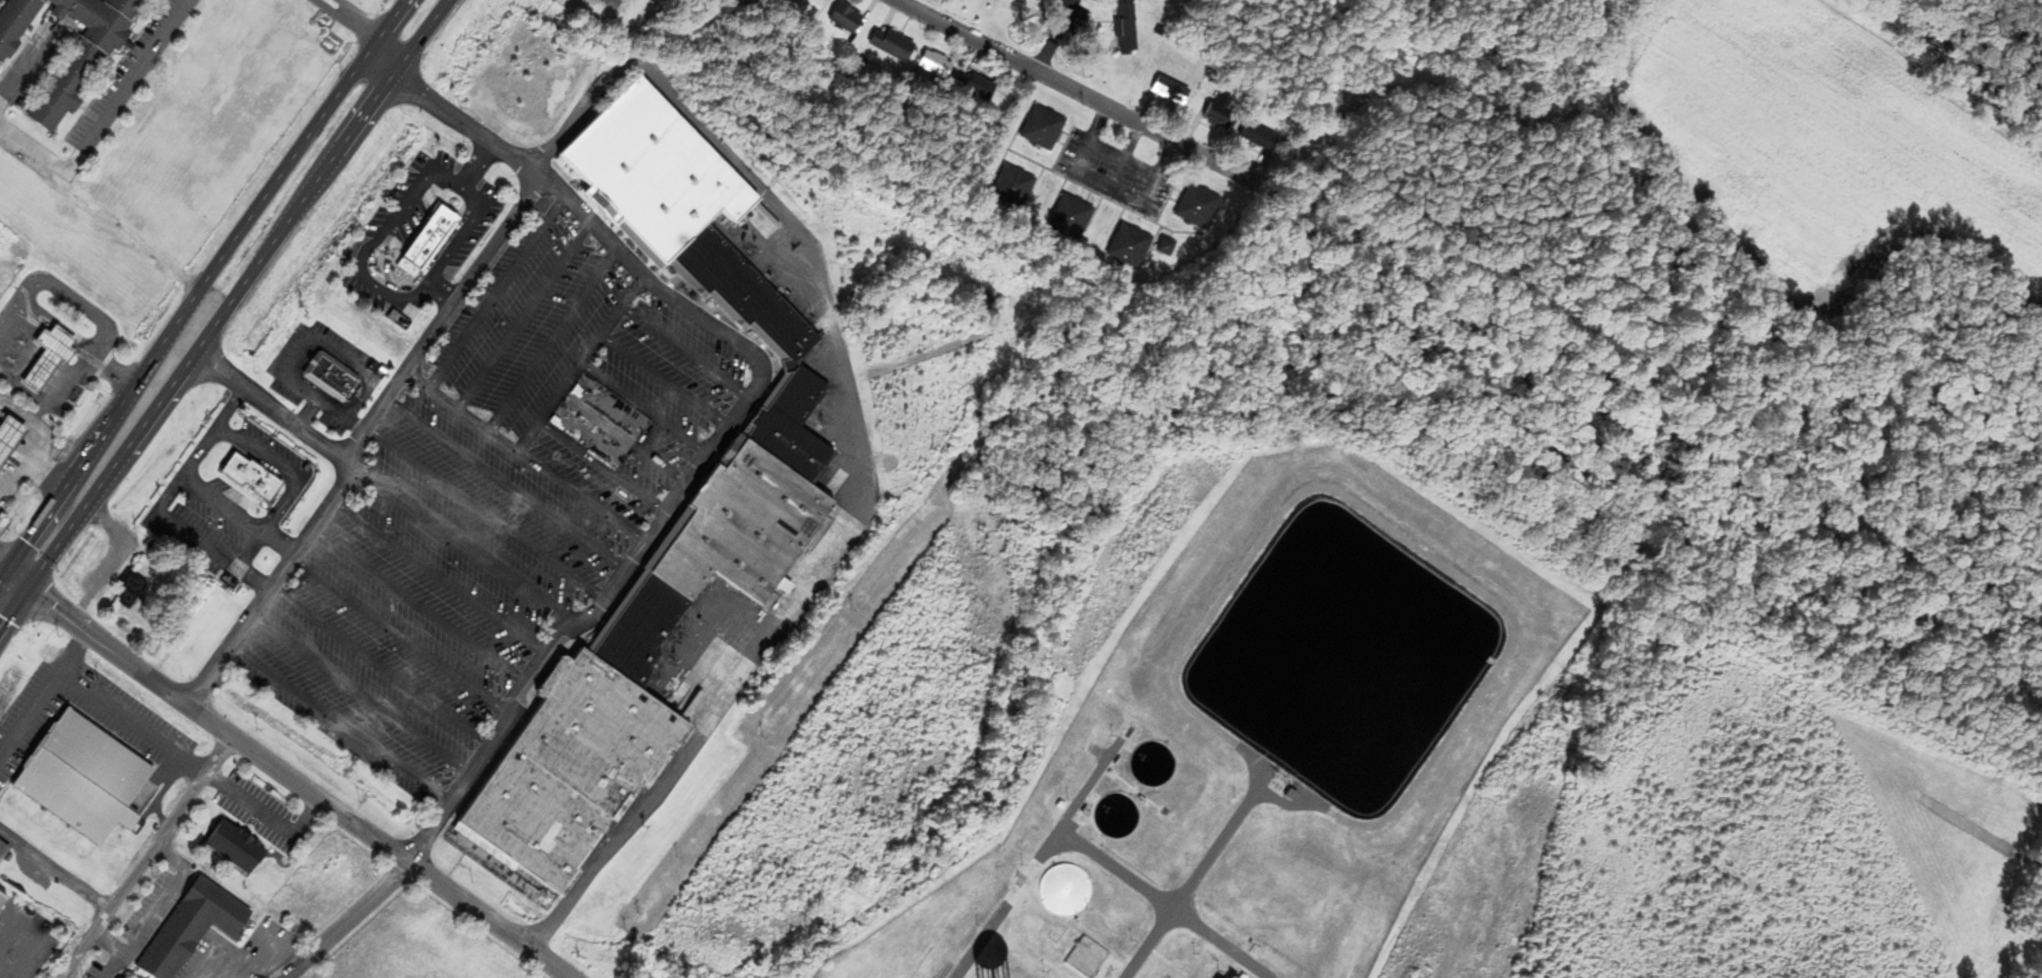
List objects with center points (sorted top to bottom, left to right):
building: (817, 4)
road: (332, 11)
building: (847, 20)
road: (359, 26)
building: (1127, 30)
road: (1058, 38)
building: (894, 46)
road: (23, 63)
building: (938, 67)
building: (978, 88)
building: (68, 92)
building: (1172, 93)
road: (1094, 102)
building: (1219, 116)
road: (104, 117)
building: (1044, 130)
building: (1260, 138)
building: (1013, 189)
building: (1198, 208)
building: (1072, 219)
building: (428, 245)
building: (1131, 248)
building: (1167, 249)
road: (203, 284)
road: (240, 292)
road: (495, 292)
road: (522, 314)
road: (442, 319)
road: (552, 339)
road: (302, 349)
road: (684, 352)
building: (47, 356)
road: (578, 362)
road: (82, 365)
building: (332, 380)
road: (662, 382)
road: (1703, 389)
road: (643, 407)
road: (17, 412)
road: (738, 412)
road: (310, 415)
road: (31, 431)
building: (8, 437)
road: (526, 456)
road: (10, 464)
road: (602, 466)
building: (254, 479)
road: (506, 484)
building: (764, 499)
road: (325, 509)
road: (485, 513)
road: (459, 544)
road: (439, 576)
traffic signals: (19, 580)
road: (9, 592)
building: (135, 593)
road: (419, 606)
road: (398, 636)
road: (379, 665)
road: (360, 694)
road: (339, 725)
road: (278, 771)
building: (86, 780)
road: (268, 818)
building: (237, 849)
building: (4, 853)
road: (147, 858)
building: (2, 901)
road: (156, 908)
road: (346, 921)
road: (1187, 921)
building: (195, 928)
road: (109, 942)
road: (265, 955)
building: (117, 977)

